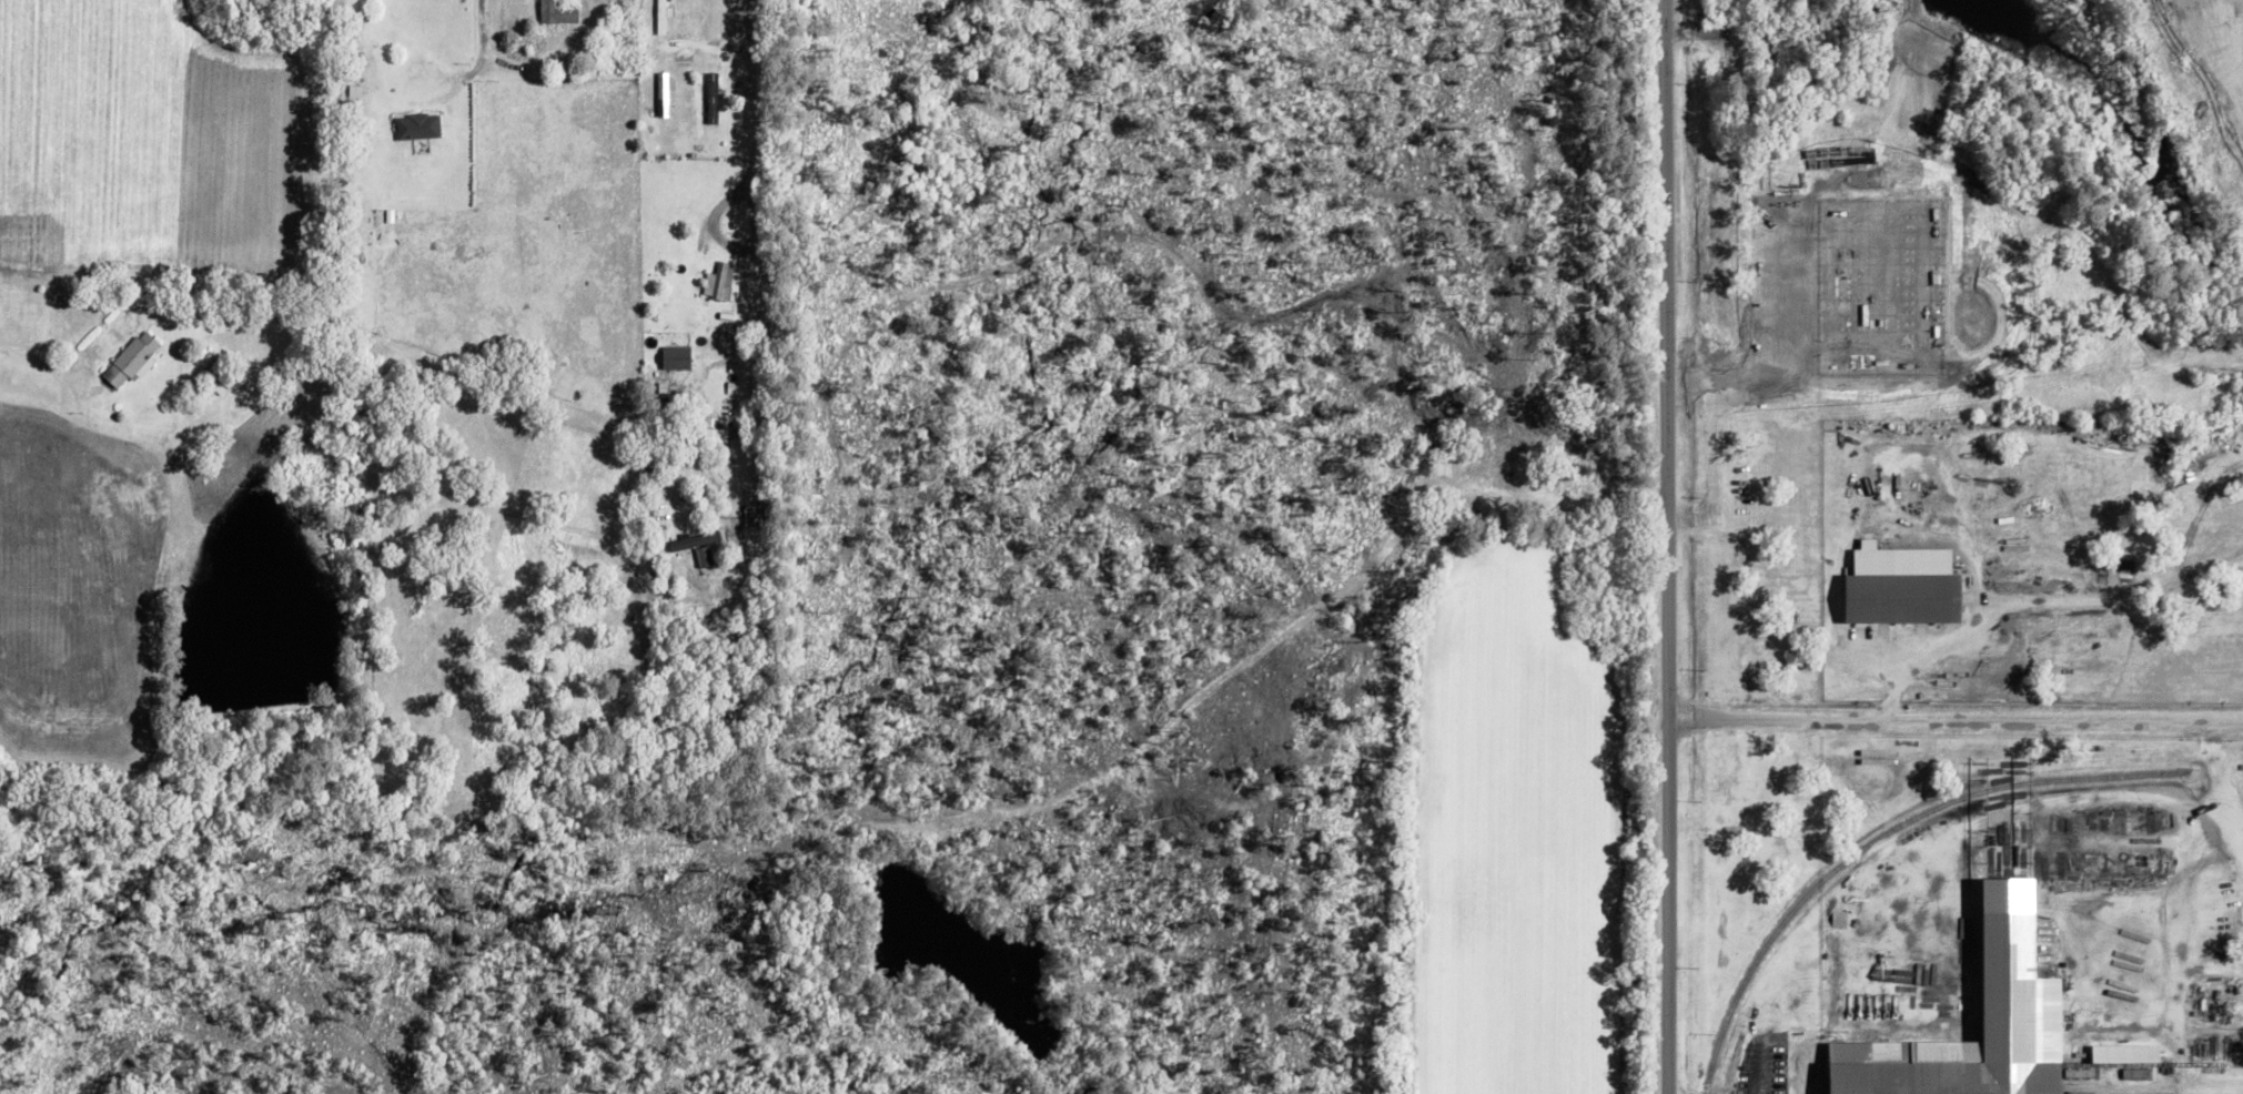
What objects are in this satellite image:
building: (557, 12)
road: (519, 64)
road: (751, 109)
building: (418, 126)
building: (719, 281)
road: (29, 351)
road: (704, 355)
building: (677, 357)
building: (133, 358)
building: (697, 539)
road: (1657, 547)
building: (1906, 585)
road: (1950, 713)
railway: (1888, 839)
building: (2030, 1009)

